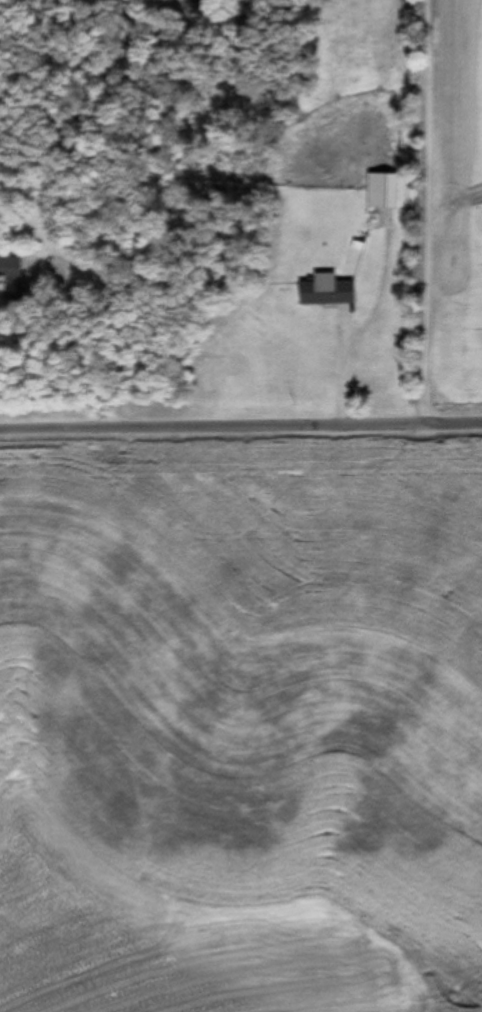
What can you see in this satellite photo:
building: (382, 192)
road: (433, 211)
building: (11, 278)
building: (326, 293)
road: (241, 425)

